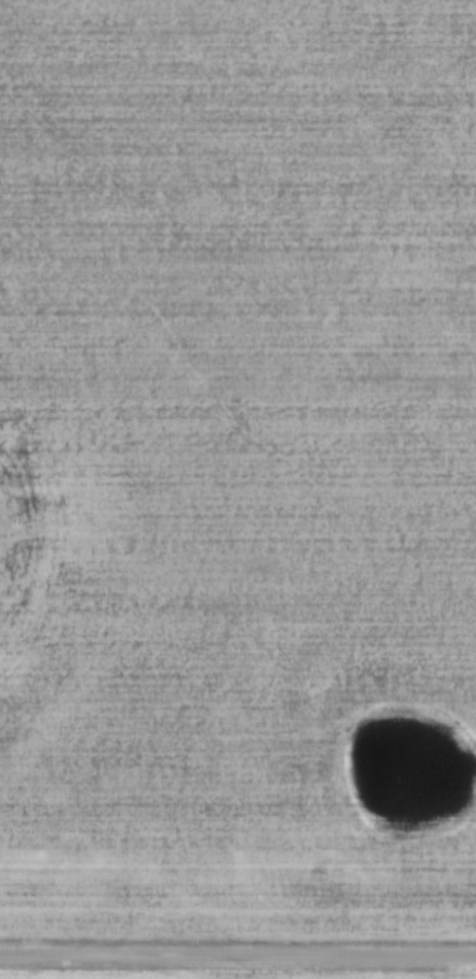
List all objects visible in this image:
road: (238, 951)

